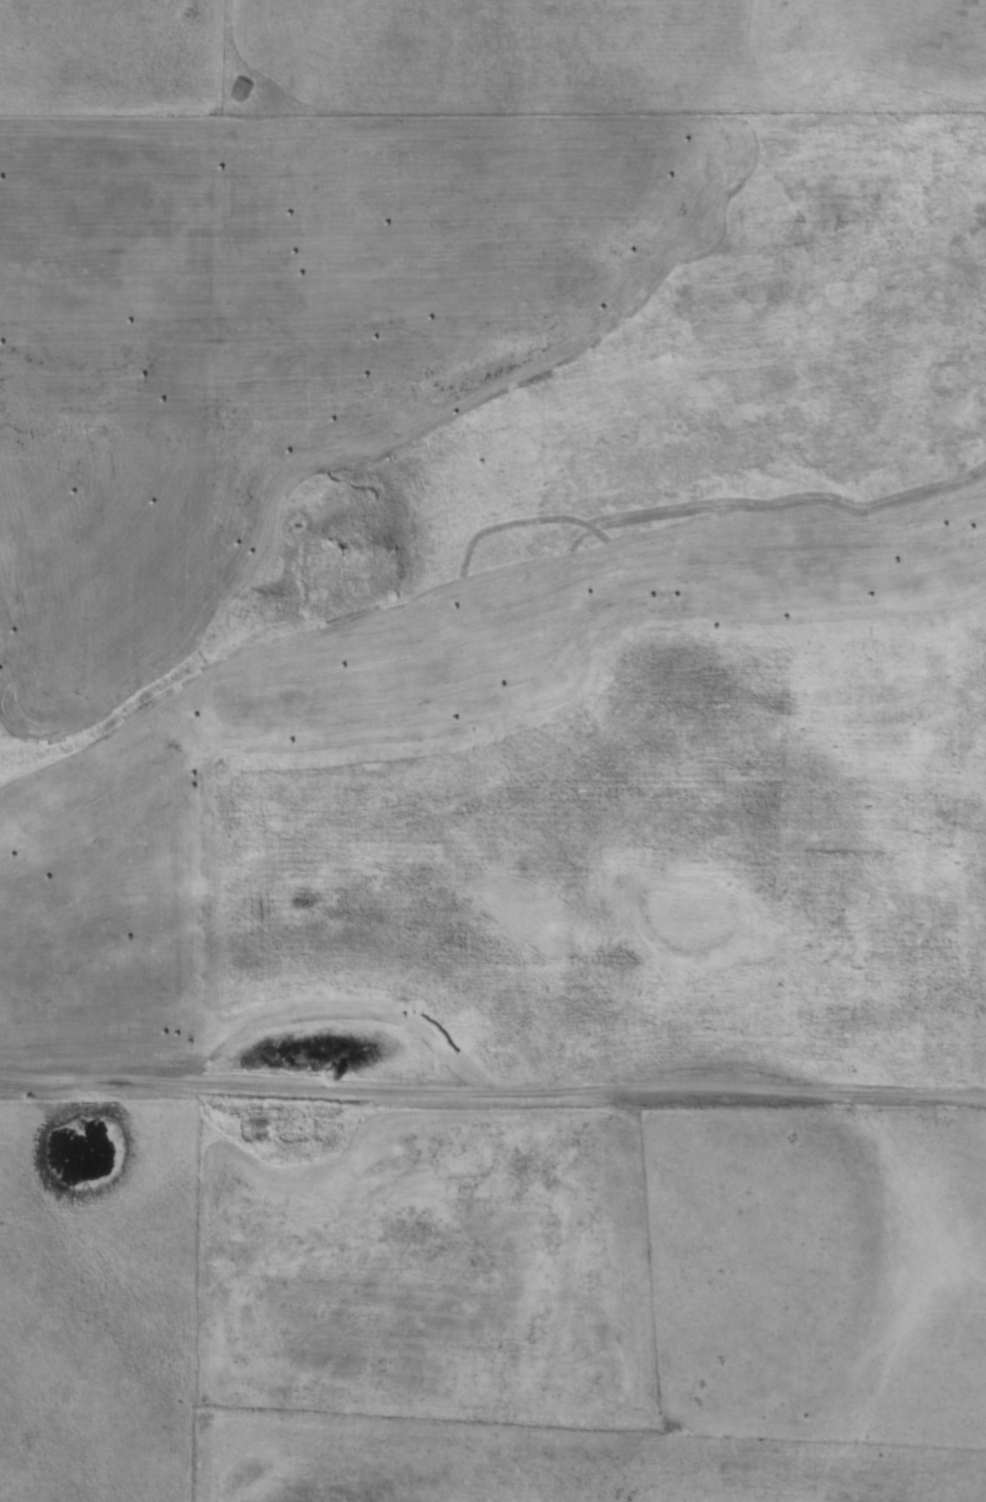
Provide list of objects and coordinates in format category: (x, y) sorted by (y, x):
road: (493, 1091)

